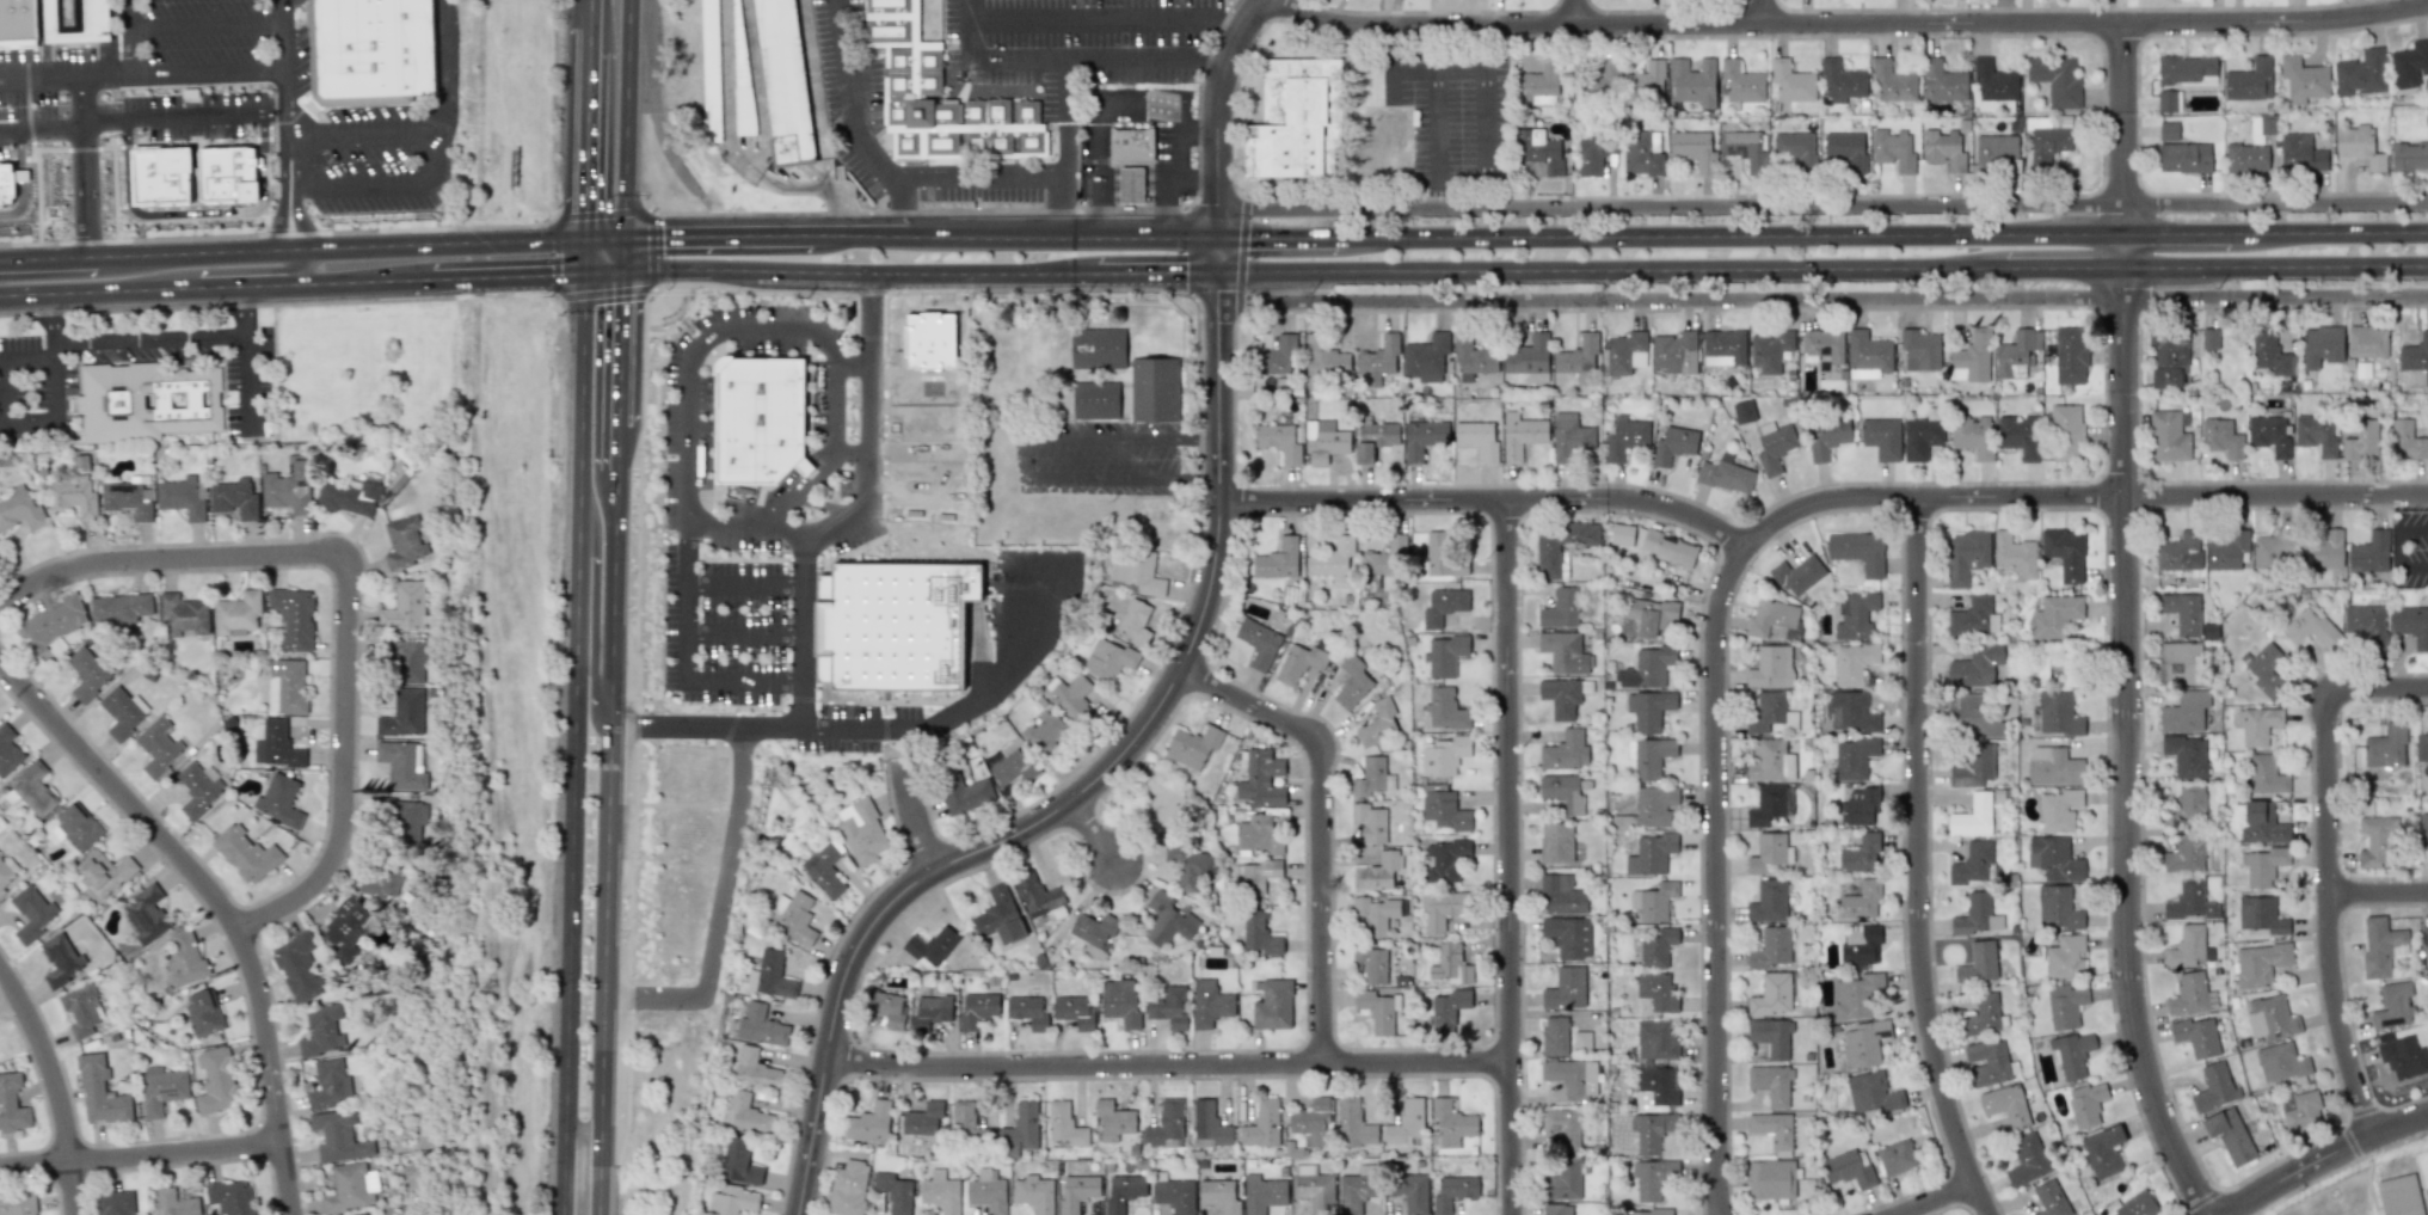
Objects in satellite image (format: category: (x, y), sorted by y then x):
road: (445, 2)
road: (283, 7)
road: (128, 12)
road: (1578, 12)
road: (1756, 12)
building: (74, 20)
road: (183, 22)
road: (1108, 22)
building: (16, 23)
road: (1850, 24)
road: (44, 38)
road: (285, 41)
building: (368, 50)
road: (1074, 53)
building: (711, 62)
rooftop solar panel: (2418, 62)
building: (2409, 65)
building: (739, 67)
building: (2187, 69)
road: (189, 70)
building: (912, 70)
road: (1459, 72)
road: (1414, 73)
building: (2360, 73)
road: (78, 74)
building: (1606, 74)
road: (59, 75)
building: (786, 75)
road: (44, 76)
building: (2303, 79)
building: (1648, 80)
building: (2055, 80)
building: (2250, 80)
building: (1694, 81)
building: (1791, 81)
building: (1943, 81)
building: (1993, 81)
building: (1739, 82)
building: (1842, 82)
building: (1893, 82)
road: (1394, 85)
building: (1538, 85)
road: (21, 86)
building: (2166, 100)
parking lot: (273, 104)
railway: (479, 108)
road: (1141, 109)
road: (1222, 113)
building: (2427, 115)
parking lot: (62, 118)
road: (586, 119)
road: (623, 119)
parking lot: (1449, 119)
road: (850, 122)
building: (1296, 123)
road: (1485, 123)
road: (1436, 125)
road: (2123, 125)
road: (284, 129)
road: (210, 130)
road: (426, 130)
building: (2168, 130)
road: (32, 137)
building: (1132, 143)
road: (1061, 145)
building: (2048, 146)
building: (2359, 146)
building: (1744, 148)
building: (1794, 148)
building: (1538, 149)
building: (1694, 149)
building: (1846, 149)
building: (1893, 149)
building: (1944, 149)
building: (1993, 151)
building: (1594, 152)
building: (1642, 153)
building: (2300, 153)
building: (2409, 157)
building: (2184, 158)
building: (2246, 158)
building: (244, 161)
road: (96, 162)
road: (64, 164)
building: (174, 165)
road: (973, 183)
building: (1132, 184)
building: (6, 189)
road: (389, 189)
road: (1434, 195)
road: (177, 197)
road: (48, 204)
road: (1824, 207)
road: (282, 220)
road: (302, 220)
road: (2330, 227)
road: (2178, 228)
road: (1731, 232)
road: (867, 235)
road: (1279, 235)
road: (719, 237)
road: (1069, 237)
road: (602, 239)
traffic signals: (621, 239)
traffic signals: (584, 240)
road: (291, 247)
road: (2125, 247)
road: (1222, 253)
road: (621, 254)
road: (2276, 265)
road: (2063, 266)
road: (1611, 268)
road: (856, 270)
road: (1157, 270)
road: (239, 271)
traffic signals: (621, 271)
traffic signals: (583, 272)
road: (69, 274)
road: (525, 274)
road: (216, 284)
road: (858, 292)
road: (1825, 295)
road: (226, 303)
road: (246, 314)
road: (51, 315)
road: (684, 321)
road: (869, 336)
building: (2209, 338)
road: (59, 340)
building: (2367, 342)
road: (165, 345)
building: (2321, 345)
building: (1098, 348)
building: (1723, 348)
building: (1822, 348)
building: (1919, 349)
building: (1624, 351)
building: (1769, 351)
building: (1674, 352)
building: (2269, 352)
building: (2017, 354)
road: (20, 355)
building: (1867, 355)
road: (691, 356)
building: (1323, 356)
building: (1971, 357)
building: (2069, 357)
building: (1427, 358)
building: (1473, 358)
building: (1529, 358)
building: (1578, 358)
building: (2416, 358)
building: (2168, 360)
building: (1278, 361)
building: (1378, 361)
road: (849, 363)
road: (251, 388)
building: (1154, 389)
road: (869, 391)
road: (6, 393)
building: (149, 400)
road: (834, 400)
building: (1095, 400)
road: (55, 407)
building: (1742, 411)
building: (760, 416)
road: (4, 430)
building: (2066, 432)
building: (1522, 434)
building: (2269, 434)
building: (2315, 435)
road: (1104, 436)
road: (1204, 436)
building: (1570, 436)
building: (1973, 436)
building: (2020, 436)
building: (1625, 437)
building: (1827, 437)
building: (1881, 437)
building: (1920, 437)
building: (2168, 437)
building: (2221, 437)
building: (1422, 438)
building: (1477, 438)
building: (1373, 440)
building: (2407, 440)
building: (1279, 441)
building: (1328, 441)
building: (2360, 442)
building: (1673, 446)
building: (1774, 446)
road: (848, 452)
road: (1026, 458)
building: (1726, 474)
road: (1206, 475)
road: (1106, 478)
building: (143, 485)
rooftop solar panel: (125, 486)
building: (288, 489)
road: (787, 490)
building: (73, 496)
building: (183, 497)
building: (235, 497)
building: (349, 497)
road: (1488, 497)
building: (125, 499)
building: (20, 510)
road: (836, 520)
road: (700, 523)
road: (729, 528)
road: (766, 529)
road: (794, 529)
road: (2412, 530)
building: (1622, 534)
road: (1751, 538)
building: (404, 542)
building: (1562, 546)
building: (1668, 548)
building: (2273, 548)
building: (2229, 550)
road: (2397, 550)
building: (1858, 551)
building: (2323, 551)
building: (2065, 552)
building: (2181, 552)
building: (2369, 553)
building: (2015, 554)
building: (1443, 556)
building: (1966, 556)
road: (724, 558)
building: (1332, 558)
building: (1278, 560)
road: (2412, 567)
building: (1137, 571)
building: (1797, 575)
road: (746, 582)
building: (824, 588)
road: (344, 590)
road: (687, 599)
building: (404, 607)
building: (1444, 607)
building: (1561, 608)
building: (119, 609)
building: (2182, 612)
building: (236, 613)
building: (183, 614)
building: (1652, 615)
building: (1855, 615)
building: (1973, 616)
building: (2054, 616)
building: (294, 618)
building: (1770, 618)
building: (1136, 621)
building: (50, 622)
building: (895, 624)
building: (2366, 624)
building: (2411, 625)
road: (804, 626)
building: (2310, 627)
road: (745, 632)
building: (1258, 643)
building: (1563, 651)
building: (1444, 655)
building: (404, 658)
building: (1108, 658)
building: (2046, 658)
building: (1854, 662)
building: (1299, 663)
building: (2178, 663)
building: (1975, 665)
building: (1771, 667)
building: (1647, 668)
building: (2263, 670)
building: (86, 673)
road: (744, 679)
building: (1352, 685)
building: (285, 686)
building: (1070, 694)
building: (1561, 697)
road: (761, 705)
building: (1444, 707)
building: (1649, 710)
building: (122, 711)
building: (1852, 711)
building: (2184, 711)
building: (402, 713)
building: (1770, 713)
building: (1971, 713)
building: (2055, 713)
road: (356, 716)
building: (1377, 723)
building: (2257, 724)
road: (873, 725)
road: (572, 726)
road: (884, 731)
building: (1045, 732)
road: (609, 743)
building: (276, 744)
building: (1192, 745)
building: (158, 747)
building: (2386, 747)
building: (2421, 747)
road: (2127, 748)
building: (7, 750)
building: (1565, 751)
building: (1444, 755)
building: (2186, 755)
building: (1649, 756)
building: (1851, 757)
railway: (491, 759)
building: (1770, 761)
building: (400, 765)
building: (1012, 766)
building: (1973, 766)
building: (2052, 766)
building: (2266, 774)
building: (1371, 777)
building: (1261, 779)
road: (1082, 786)
building: (198, 788)
building: (32, 790)
building: (963, 791)
building: (1562, 791)
building: (278, 800)
building: (1161, 800)
building: (2189, 802)
building: (1653, 805)
building: (1766, 805)
building: (1861, 805)
building: (1444, 810)
building: (2058, 810)
road: (916, 812)
building: (1973, 816)
building: (402, 818)
road: (1321, 822)
building: (1369, 822)
building: (2262, 824)
building: (75, 827)
road: (1089, 828)
building: (2423, 829)
building: (861, 832)
building: (1258, 834)
building: (2375, 841)
building: (1555, 842)
building: (1769, 852)
building: (246, 853)
building: (1651, 854)
building: (1861, 854)
road: (1508, 855)
building: (2184, 855)
building: (2054, 858)
road: (1918, 859)
building: (1444, 860)
building: (1972, 864)
road: (2328, 864)
building: (1188, 866)
building: (2263, 866)
building: (824, 870)
building: (103, 872)
building: (1379, 872)
building: (5, 875)
building: (380, 878)
building: (1254, 878)
building: (1561, 894)
road: (2378, 895)
building: (2186, 898)
building: (1039, 900)
road: (219, 901)
building: (1654, 901)
building: (1769, 901)
building: (1861, 901)
building: (2057, 908)
building: (1440, 909)
road: (719, 910)
building: (31, 913)
building: (146, 914)
building: (1375, 914)
building: (1977, 915)
building: (2261, 915)
building: (792, 916)
building: (998, 916)
building: (1168, 919)
building: (346, 927)
building: (1094, 928)
building: (1259, 933)
rooftop solar panel: (354, 935)
building: (1568, 937)
rooftop solar panel: (2424, 938)
building: (930, 945)
building: (1860, 945)
building: (2187, 946)
building: (2380, 946)
building: (2423, 946)
building: (1656, 947)
building: (1771, 947)
rooftop solar panel: (345, 955)
building: (184, 957)
building: (2065, 957)
building: (61, 961)
building: (1979, 963)
building: (2260, 963)
building: (1372, 964)
building: (1450, 964)
building: (297, 967)
building: (770, 975)
road: (823, 975)
building: (1566, 988)
building: (1656, 990)
building: (1772, 994)
building: (1856, 994)
building: (2188, 994)
building: (1120, 1001)
building: (1209, 1004)
building: (886, 1005)
building: (1272, 1005)
building: (2393, 1005)
building: (2066, 1006)
building: (1169, 1007)
building: (977, 1008)
building: (1447, 1008)
building: (81, 1010)
building: (1377, 1010)
building: (929, 1011)
building: (1074, 1011)
building: (203, 1012)
building: (1027, 1012)
building: (1981, 1015)
building: (2272, 1018)
building: (761, 1025)
building: (321, 1030)
building: (1554, 1036)
building: (1771, 1036)
building: (2196, 1036)
building: (1655, 1039)
building: (1863, 1043)
building: (2071, 1054)
building: (2403, 1057)
building: (1986, 1062)
building: (2280, 1062)
road: (1168, 1064)
building: (754, 1068)
building: (1572, 1076)
building: (216, 1081)
building: (330, 1084)
building: (1771, 1084)
road: (55, 1086)
building: (1655, 1086)
building: (2214, 1087)
building: (161, 1088)
rooftop solar panel: (170, 1091)
building: (100, 1092)
building: (1873, 1093)
building: (12, 1103)
building: (2086, 1104)
building: (2005, 1105)
building: (2300, 1110)
building: (745, 1113)
building: (922, 1118)
building: (1113, 1119)
building: (966, 1121)
building: (1407, 1121)
building: (869, 1122)
building: (1313, 1122)
building: (1452, 1123)
building: (1064, 1124)
building: (1209, 1124)
building: (1262, 1124)
building: (1353, 1124)
building: (1166, 1125)
building: (1562, 1125)
building: (1020, 1129)
building: (1653, 1130)
building: (1774, 1130)
building: (2230, 1135)
building: (338, 1136)
building: (2102, 1152)
road: (139, 1155)
building: (1895, 1158)
building: (2027, 1159)
road: (2323, 1159)
building: (739, 1161)
building: (1848, 1170)
building: (1652, 1178)
building: (1771, 1179)
building: (1563, 1180)
building: (350, 1188)
building: (848, 1188)
building: (1314, 1188)
building: (940, 1191)
building: (986, 1191)
building: (1124, 1191)
building: (1452, 1191)
building: (895, 1192)
building: (1076, 1192)
building: (1354, 1192)
building: (1410, 1192)
park: (2332, 1192)
building: (1034, 1193)
building: (1262, 1193)
building: (1174, 1195)
building: (1219, 1195)
building: (2399, 1196)
building: (230, 1197)
road: (1934, 1198)
building: (2051, 1198)
building: (733, 1201)
building: (17, 1203)
building: (115, 1203)
building: (176, 1203)
building: (2131, 1205)
building: (1559, 1209)
building: (1651, 1211)
building: (367, 1214)

